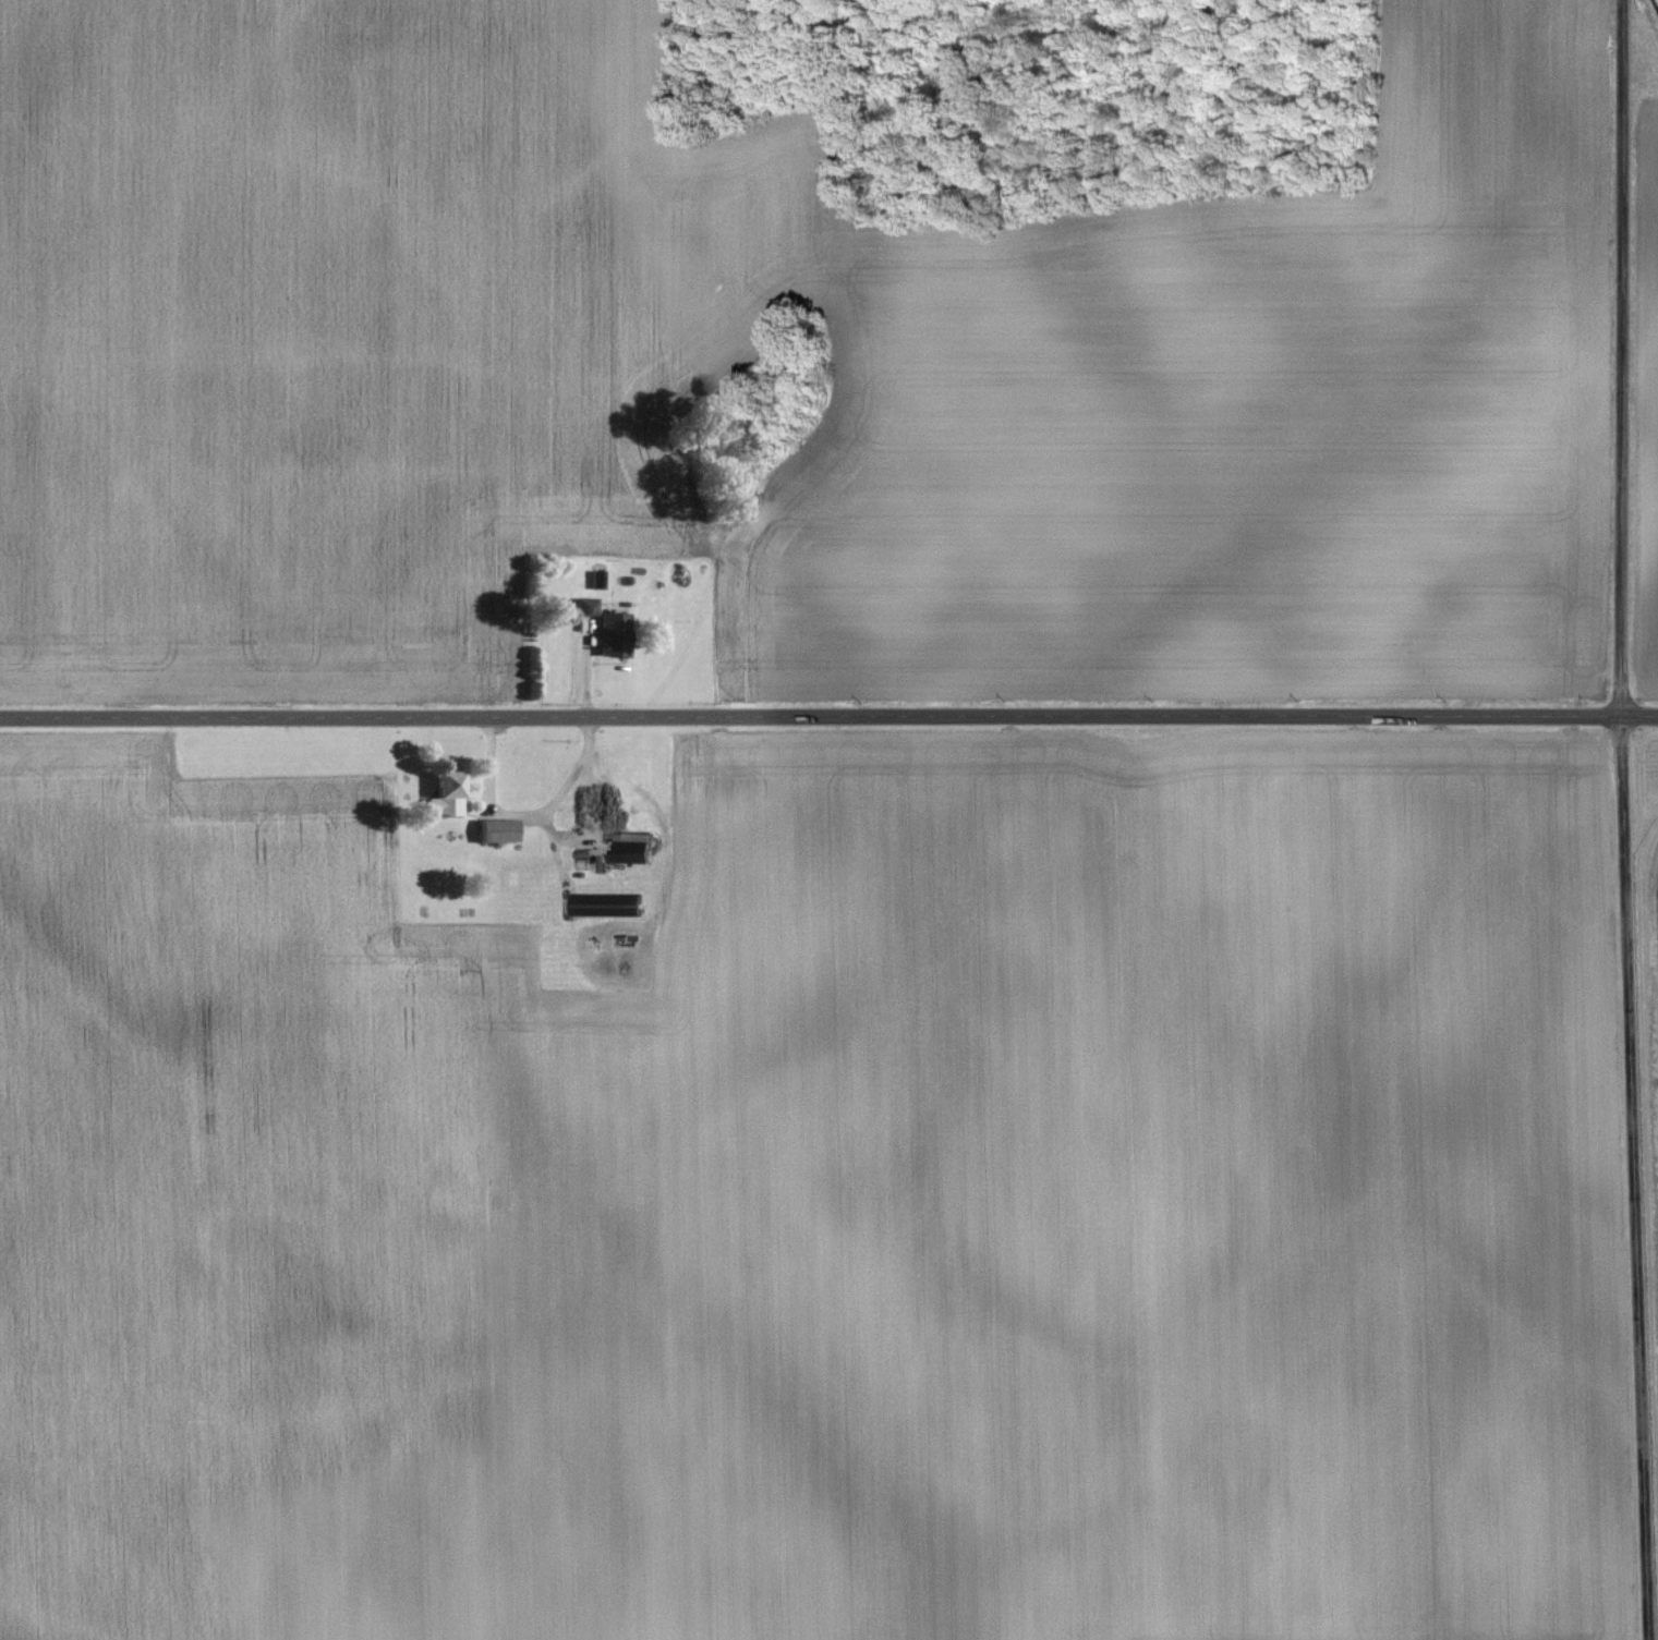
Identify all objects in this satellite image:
building: (618, 634)
road: (828, 717)
building: (452, 792)
building: (589, 804)
road: (1622, 819)
building: (501, 829)
building: (637, 847)
building: (609, 904)
quarry: (1648, 1013)

